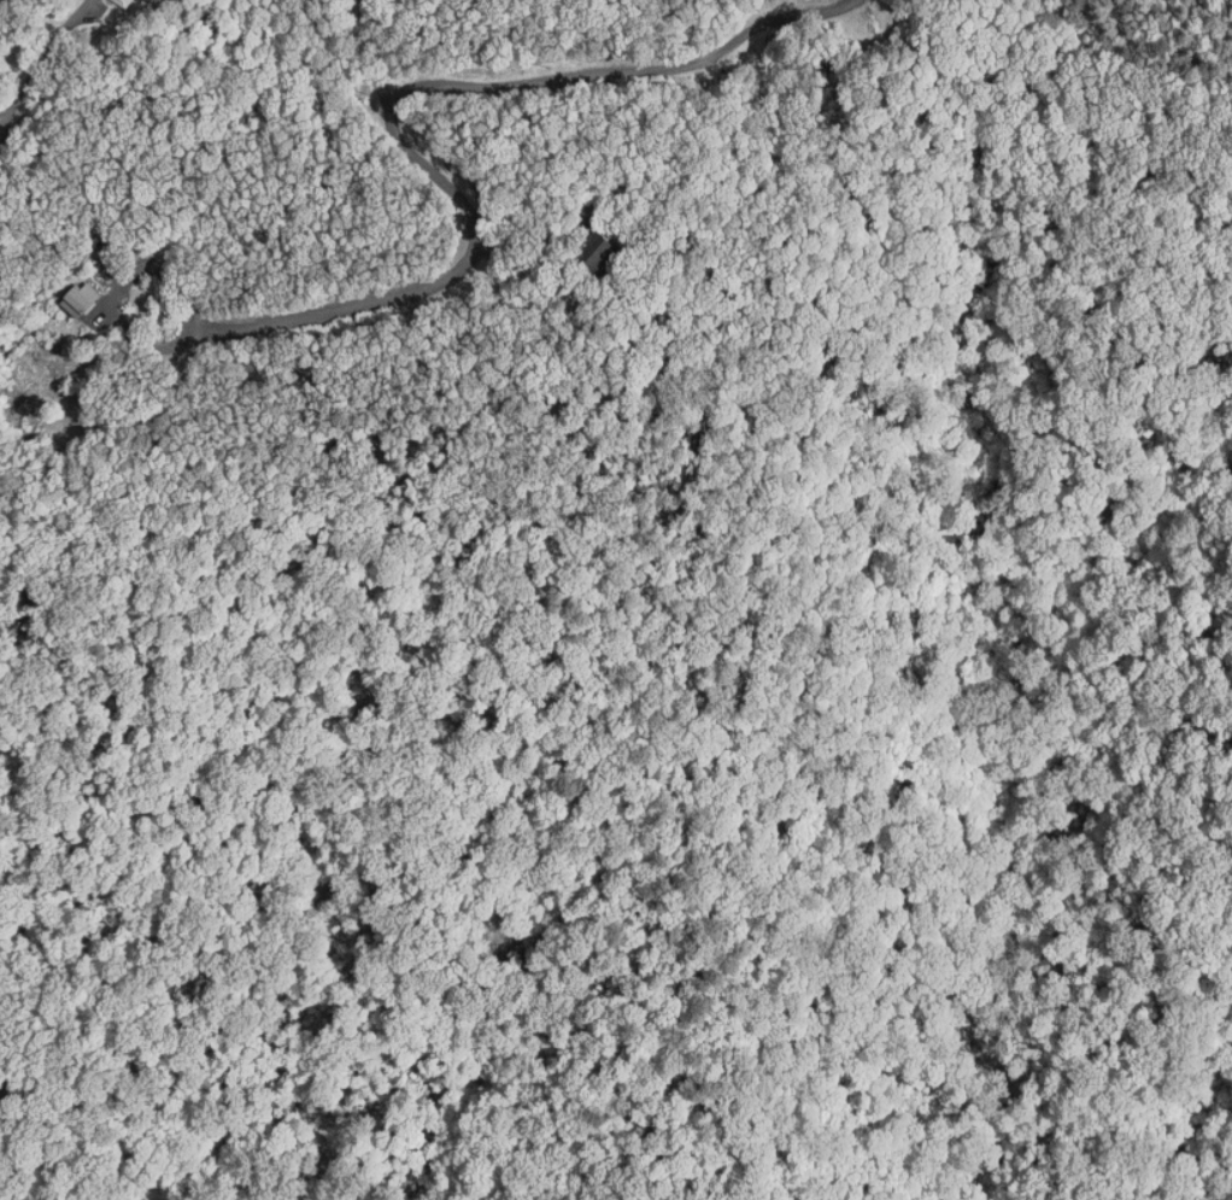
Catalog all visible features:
road: (398, 99)
road: (117, 297)
building: (88, 302)

